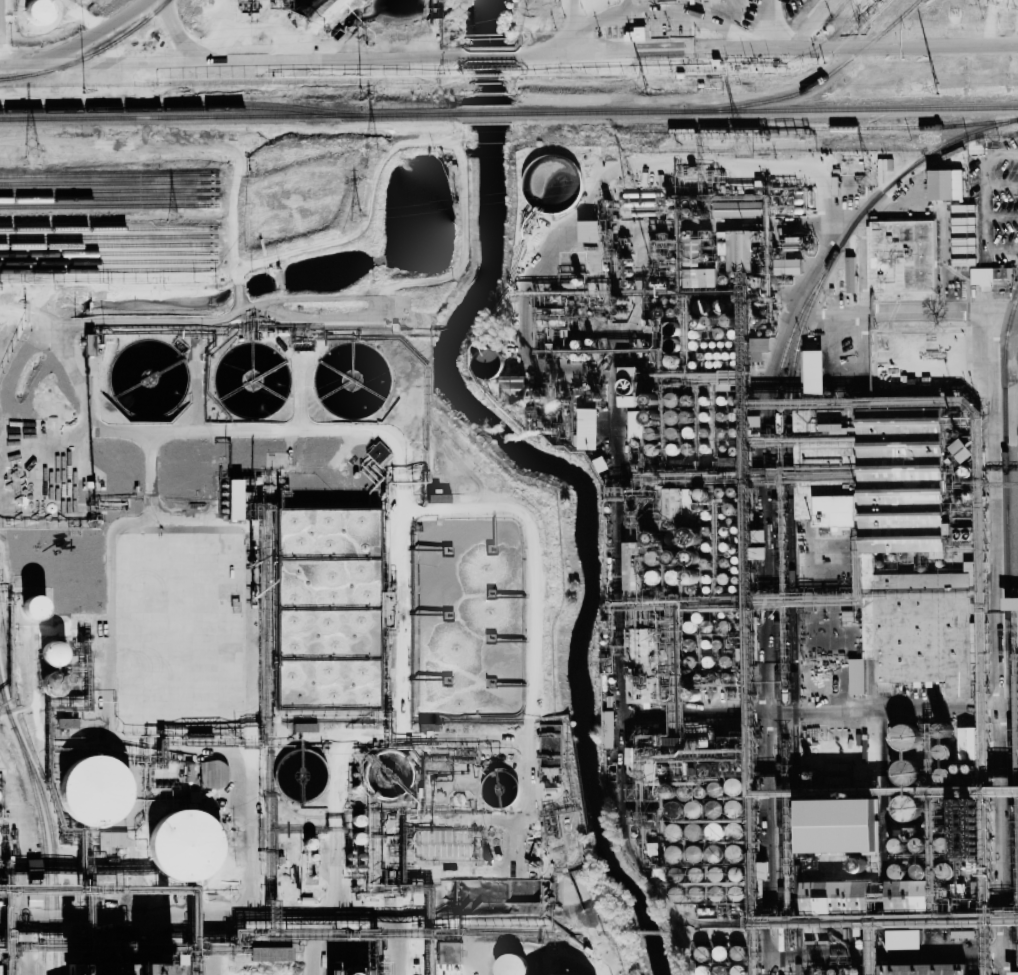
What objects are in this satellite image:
road: (629, 6)
building: (34, 11)
road: (650, 13)
road: (573, 16)
road: (796, 20)
road: (772, 24)
road: (812, 24)
building: (636, 32)
road: (177, 35)
road: (77, 44)
road: (766, 50)
railway: (90, 54)
road: (491, 55)
road: (242, 61)
railway: (812, 84)
power tower: (938, 88)
power tower: (84, 90)
power tower: (360, 93)
power tower: (645, 93)
railway: (180, 107)
railway: (766, 109)
railway: (487, 113)
railway: (230, 116)
railway: (823, 128)
power tower: (743, 147)
power tower: (32, 150)
power tower: (373, 150)
railway: (106, 174)
power tower: (871, 179)
railway: (105, 182)
power tower: (628, 182)
building: (944, 184)
railway: (105, 190)
railway: (105, 197)
railway: (105, 205)
power tower: (171, 214)
power tower: (357, 215)
railway: (105, 227)
building: (588, 230)
railway: (105, 236)
railway: (106, 244)
building: (736, 249)
railway: (106, 253)
building: (901, 257)
railway: (105, 261)
building: (788, 266)
railway: (106, 269)
building: (849, 274)
building: (709, 277)
building: (989, 277)
building: (722, 305)
building: (700, 307)
road: (1003, 313)
building: (87, 345)
building: (758, 348)
building: (672, 361)
building: (487, 364)
building: (813, 372)
building: (628, 387)
building: (515, 393)
building: (670, 399)
building: (671, 417)
building: (686, 417)
building: (638, 422)
building: (588, 429)
building: (688, 432)
building: (671, 433)
building: (651, 434)
building: (672, 449)
building: (653, 450)
building: (960, 451)
building: (378, 453)
railway: (773, 489)
building: (701, 494)
building: (437, 498)
building: (233, 499)
building: (731, 509)
building: (689, 539)
road: (993, 542)
building: (904, 544)
building: (758, 553)
building: (652, 558)
building: (690, 558)
building: (630, 563)
building: (653, 577)
building: (672, 577)
road: (765, 579)
building: (1010, 604)
railway: (791, 606)
building: (33, 609)
railway: (1007, 631)
building: (52, 655)
building: (639, 658)
building: (725, 661)
building: (691, 662)
building: (708, 662)
building: (856, 676)
building: (50, 686)
building: (65, 723)
building: (304, 727)
building: (428, 727)
building: (607, 729)
building: (905, 738)
building: (962, 738)
building: (943, 753)
building: (904, 773)
building: (212, 774)
building: (942, 775)
railway: (37, 779)
building: (732, 787)
building: (498, 788)
building: (715, 789)
building: (93, 793)
building: (733, 808)
building: (693, 809)
building: (713, 809)
building: (906, 809)
building: (356, 821)
building: (838, 829)
building: (674, 832)
building: (693, 832)
building: (714, 832)
building: (356, 839)
building: (111, 841)
building: (308, 844)
building: (896, 846)
building: (183, 847)
railway: (45, 848)
building: (694, 853)
building: (732, 853)
building: (714, 854)
building: (674, 855)
building: (32, 866)
building: (857, 866)
building: (919, 872)
building: (945, 872)
building: (734, 874)
building: (676, 875)
building: (697, 875)
building: (716, 875)
building: (734, 893)
building: (905, 893)
building: (716, 894)
road: (195, 920)
railway: (56, 929)
railway: (59, 929)
building: (903, 939)
road: (27, 947)
road: (312, 948)
road: (392, 948)
building: (720, 951)
building: (738, 951)
building: (448, 952)
building: (702, 952)
building: (270, 953)
building: (510, 964)
building: (145, 966)
building: (922, 968)
building: (701, 970)
building: (735, 970)
building: (346, 971)

